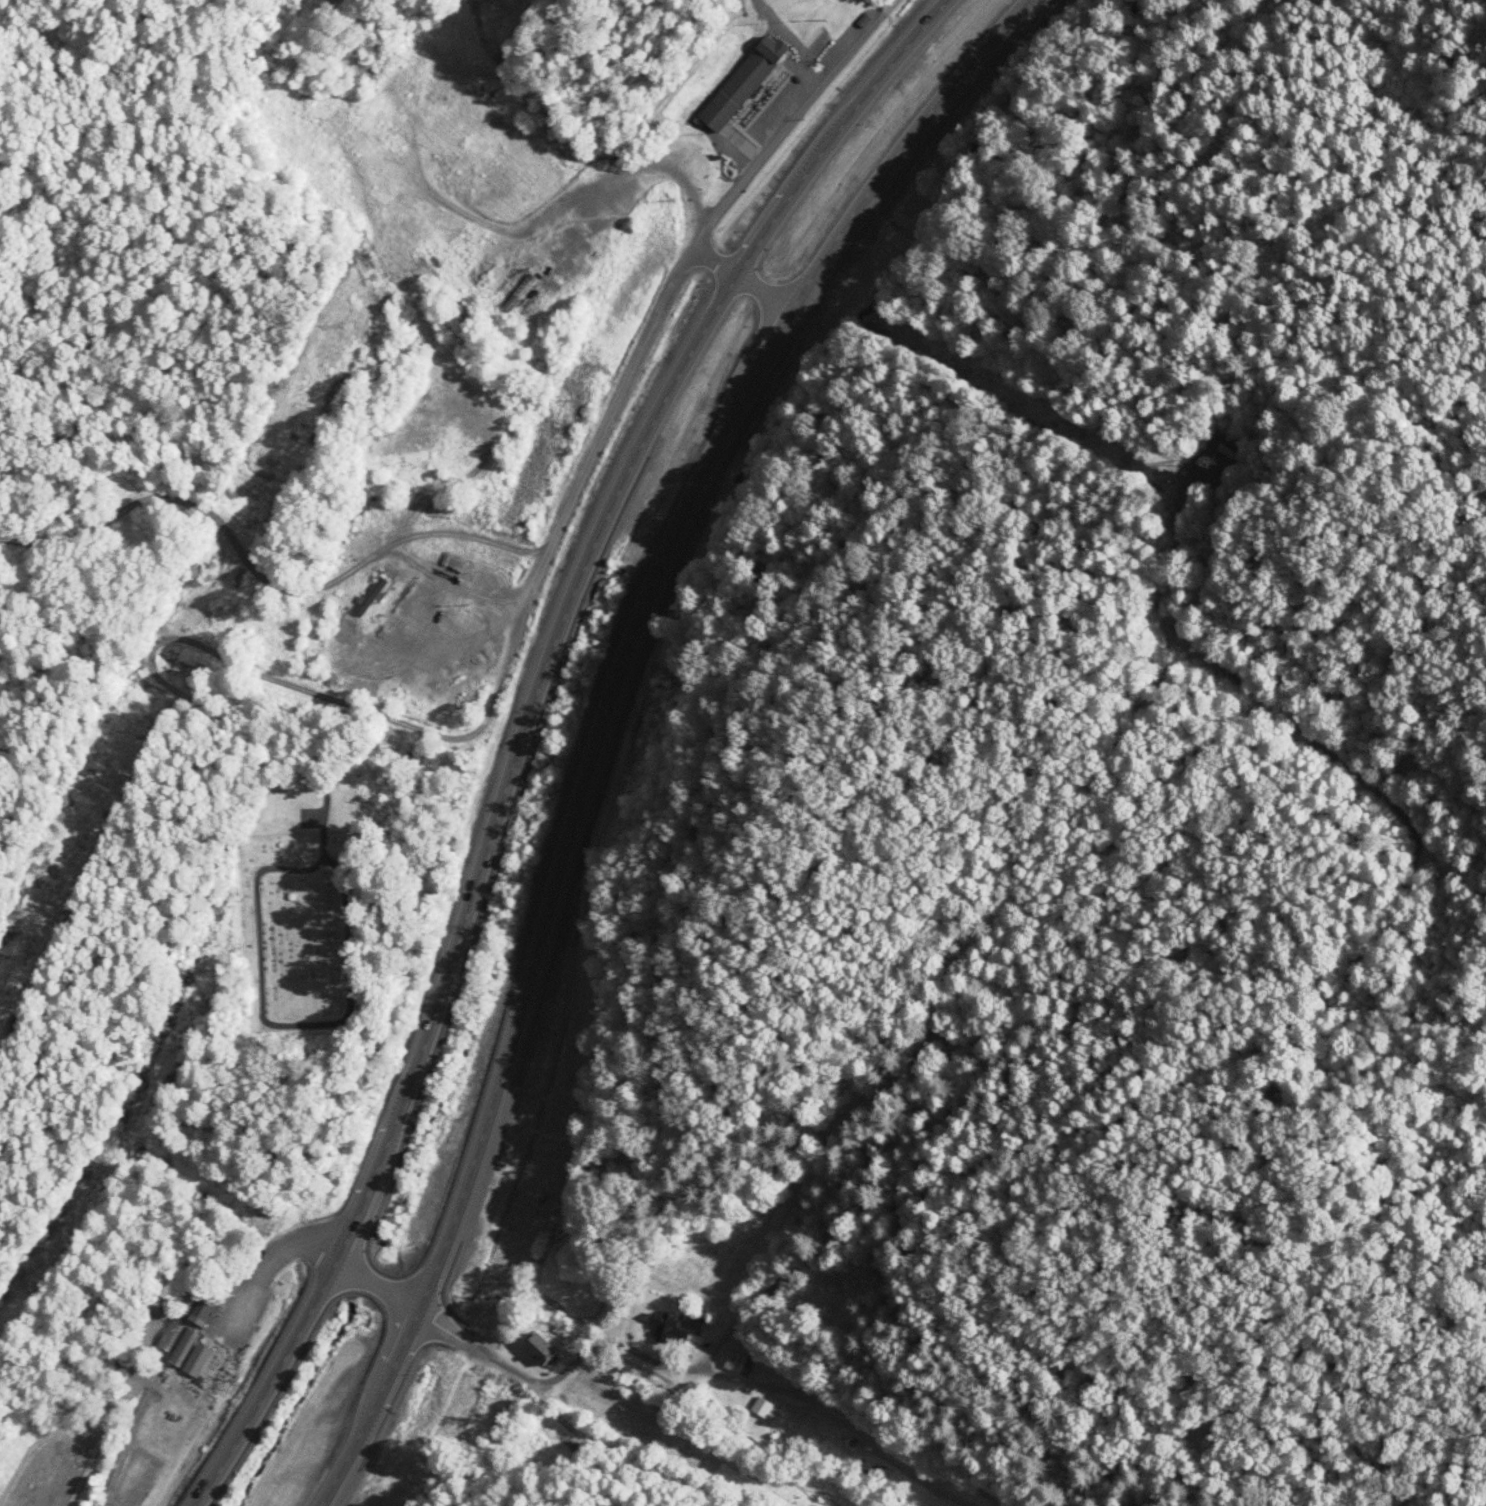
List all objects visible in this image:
road: (606, 393)
road: (241, 579)
road: (597, 717)
road: (519, 728)
road: (343, 1264)
building: (528, 1346)
road: (464, 1352)
road: (779, 1357)
building: (728, 1361)
building: (753, 1406)

